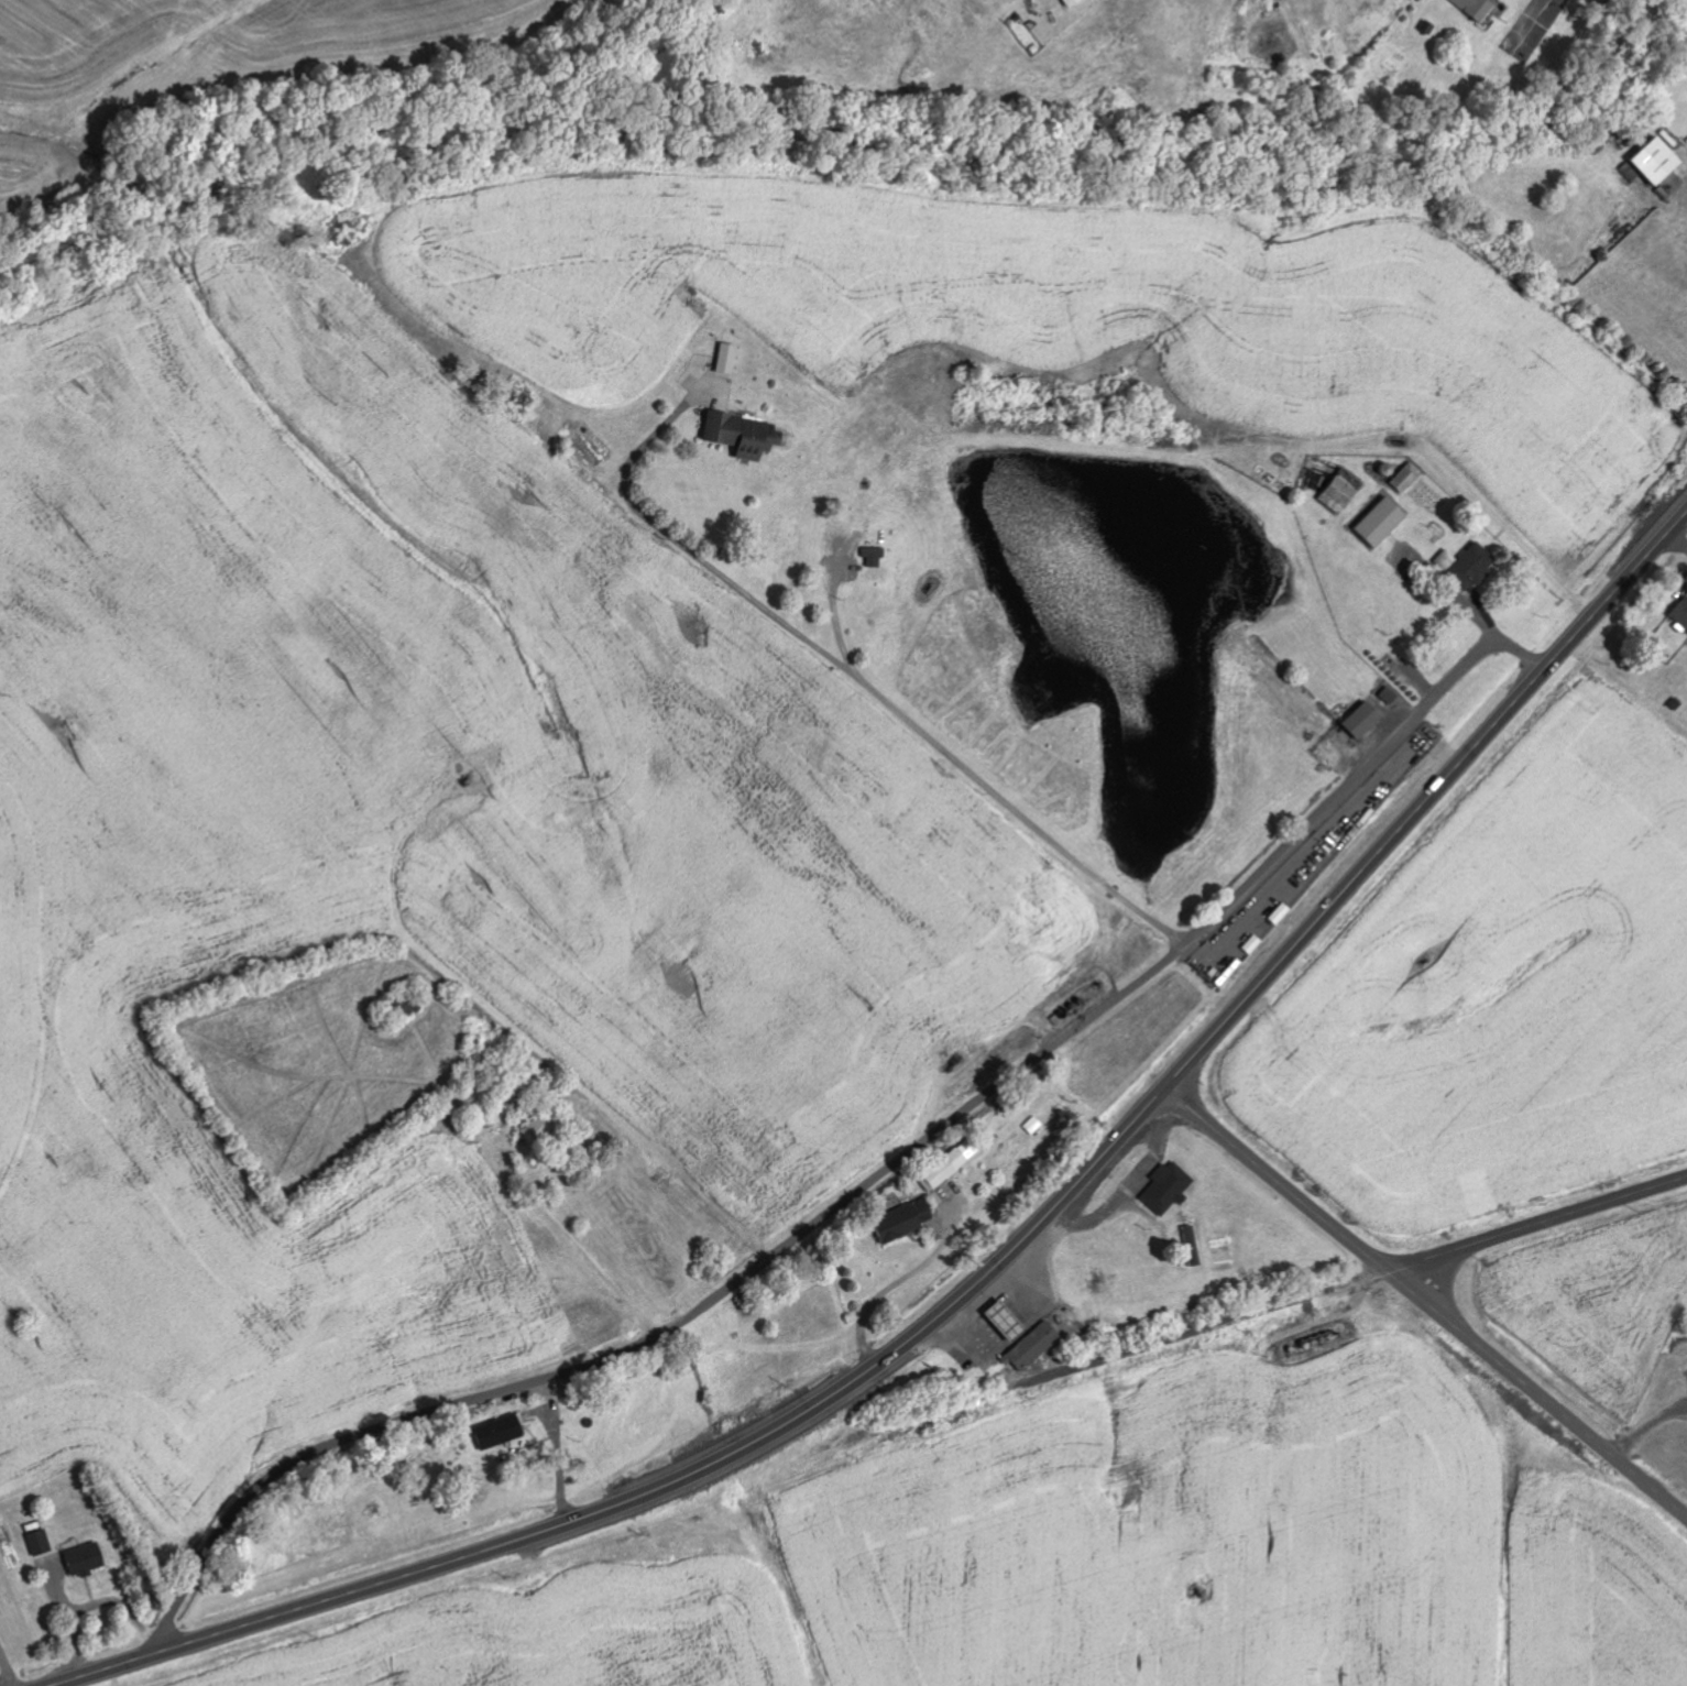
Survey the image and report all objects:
building: (1073, 3)
building: (1478, 9)
building: (1659, 163)
building: (727, 358)
building: (743, 435)
building: (1407, 478)
building: (1343, 492)
building: (1382, 522)
road: (1676, 541)
building: (873, 557)
building: (1469, 566)
building: (1681, 614)
road: (847, 668)
building: (1363, 720)
road: (1423, 801)
building: (1032, 1126)
building: (537, 1130)
road: (864, 1185)
building: (1169, 1187)
building: (905, 1222)
road: (1540, 1223)
road: (1425, 1302)
building: (1010, 1320)
building: (1037, 1345)
building: (500, 1431)
road: (660, 1486)
building: (40, 1542)
building: (86, 1558)
road: (1303, 1576)
road: (4, 1669)

